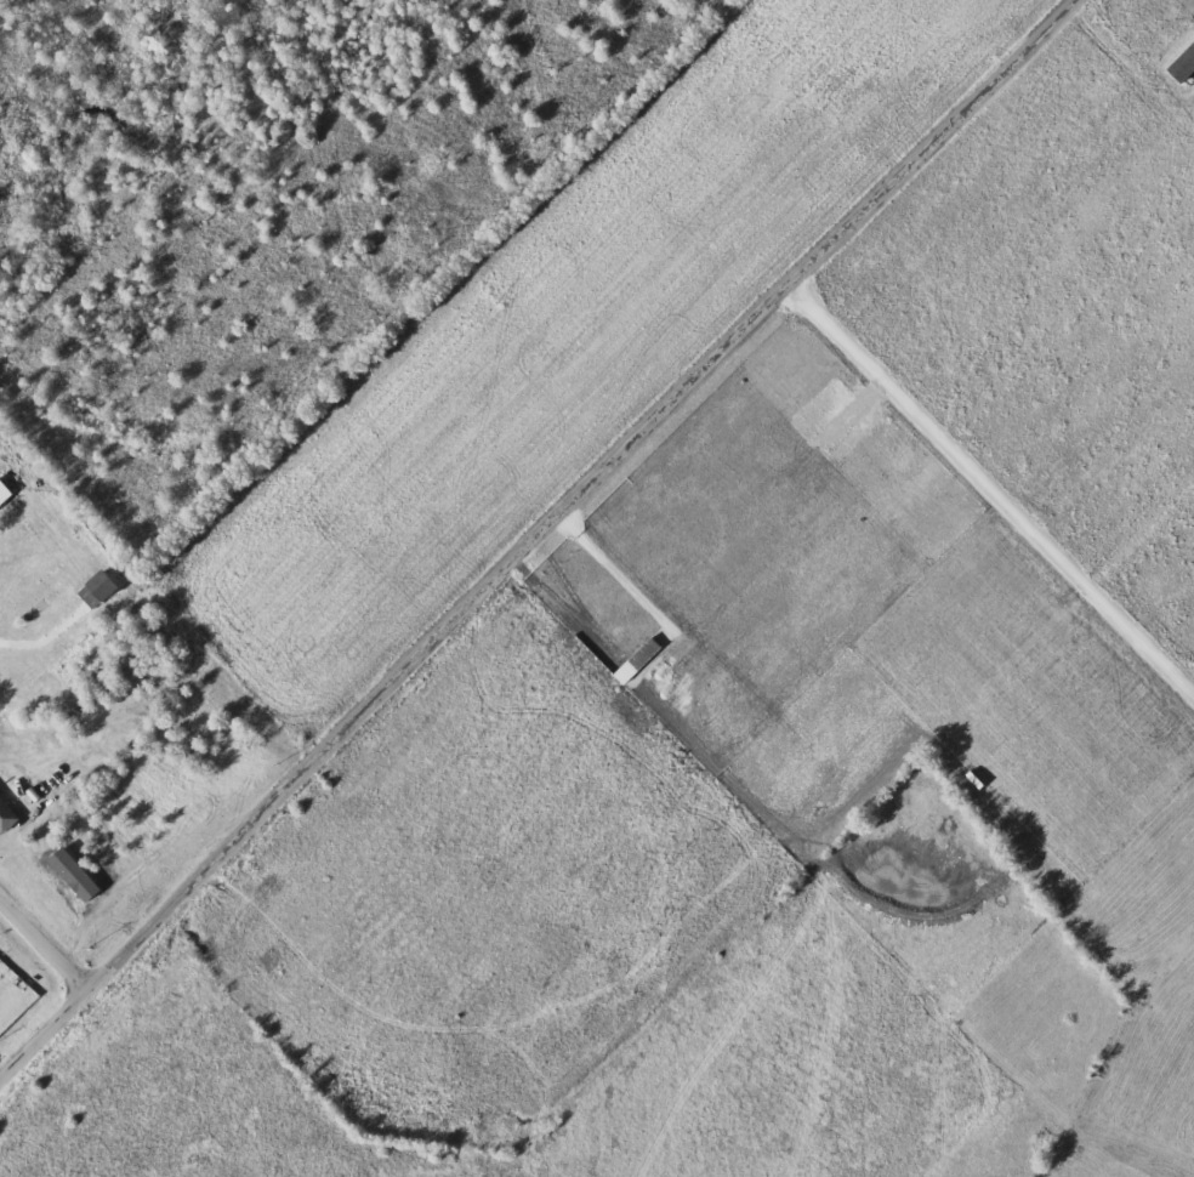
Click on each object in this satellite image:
road: (1090, 209)
road: (536, 538)
building: (6, 815)
road: (45, 942)

